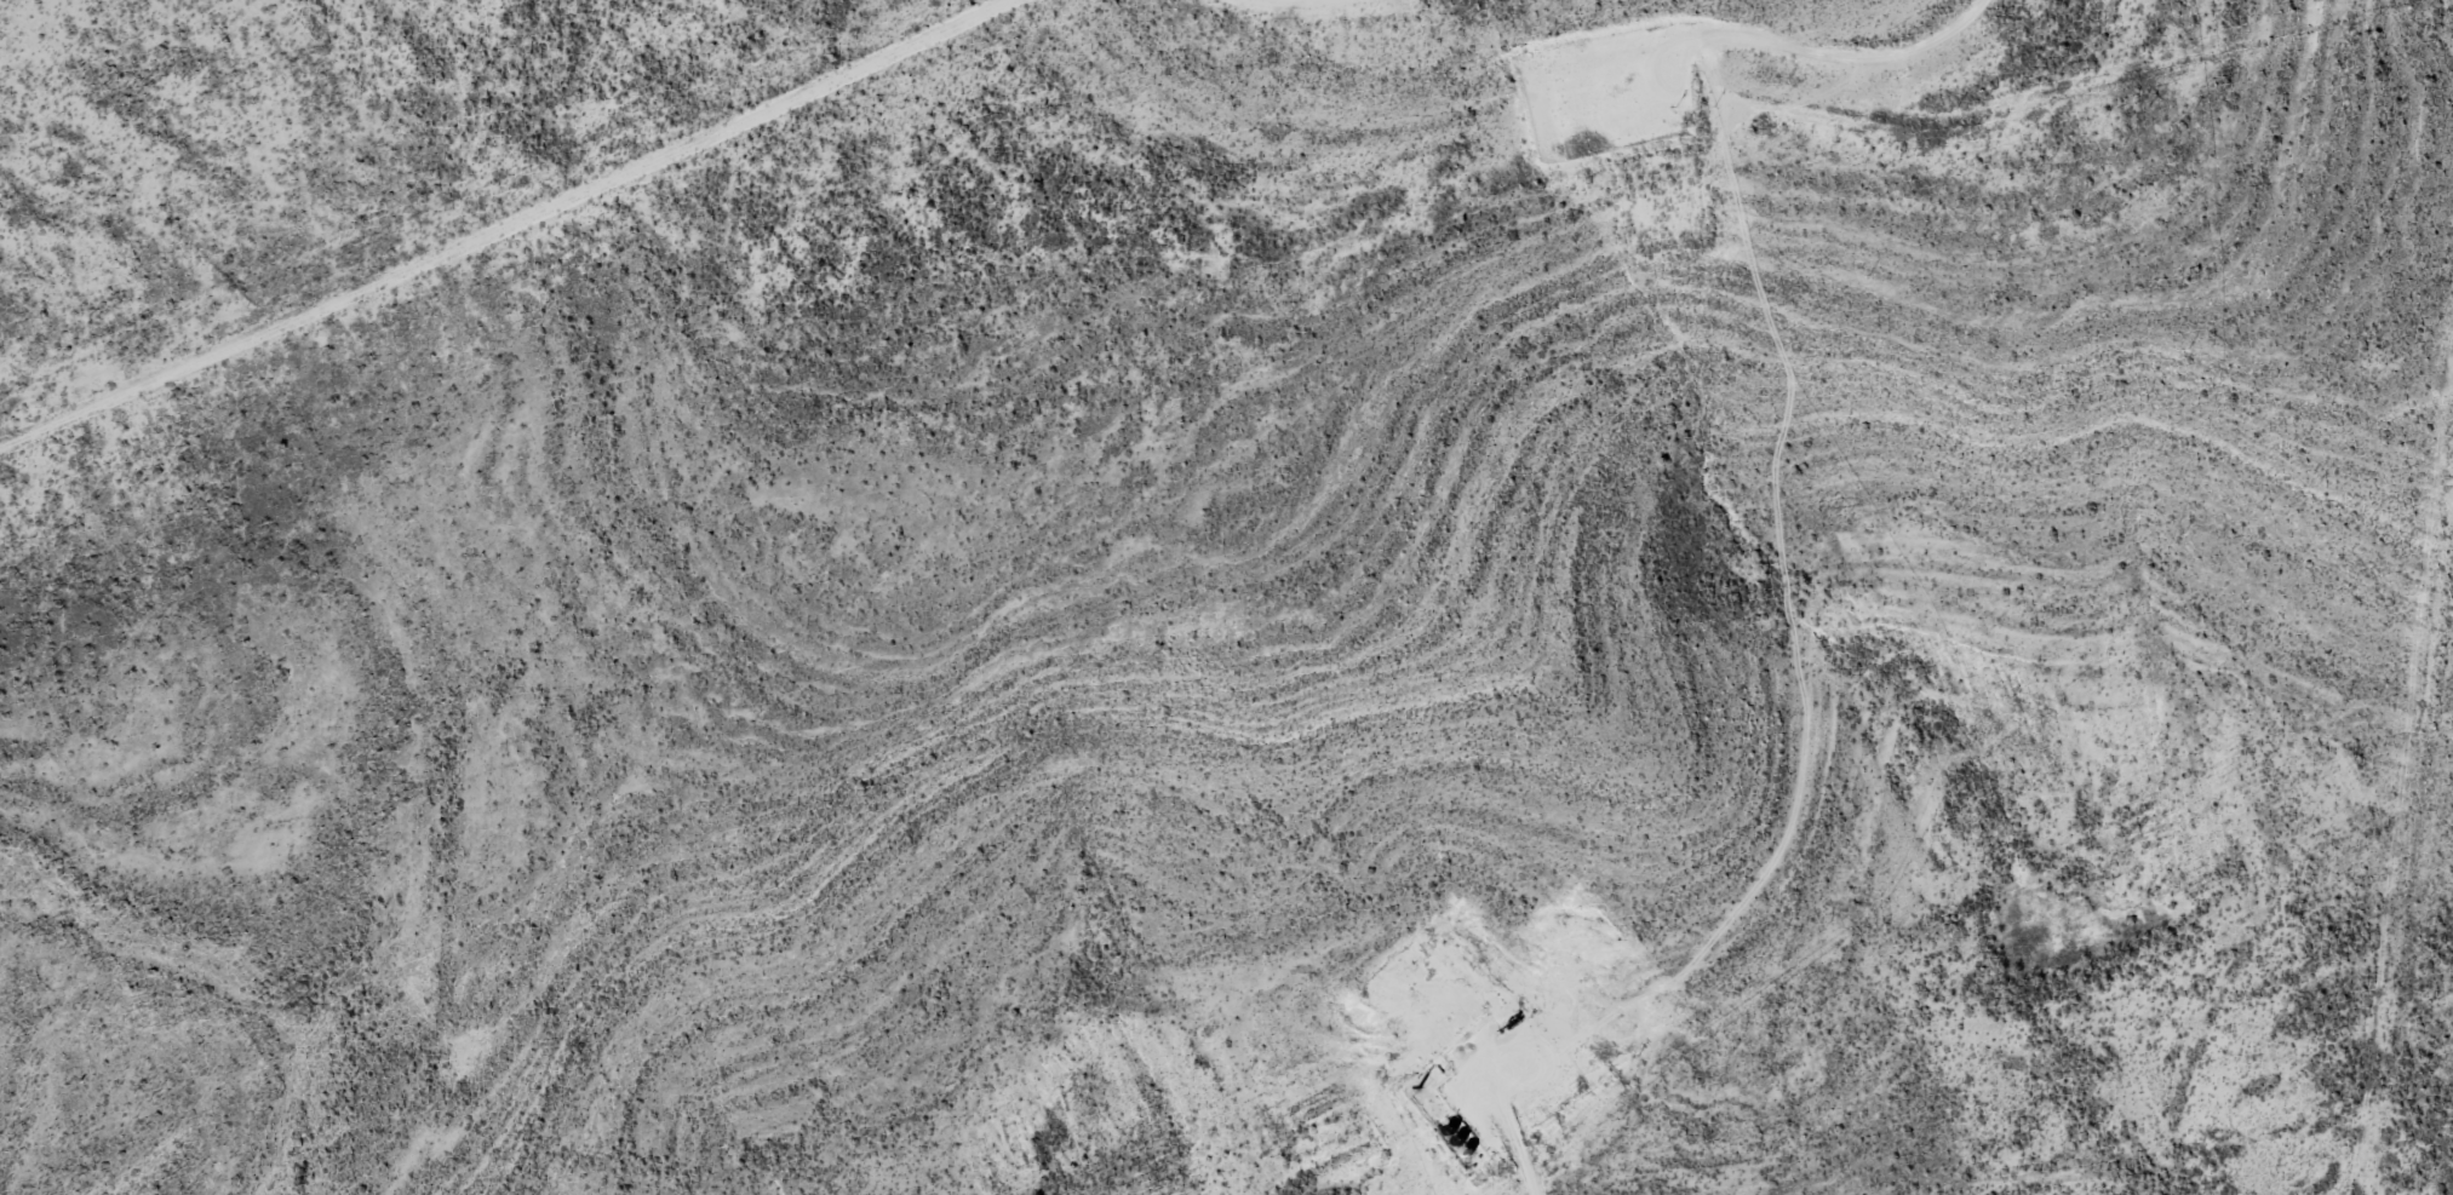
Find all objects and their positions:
building: (1412, 1030)
building: (1581, 1088)

